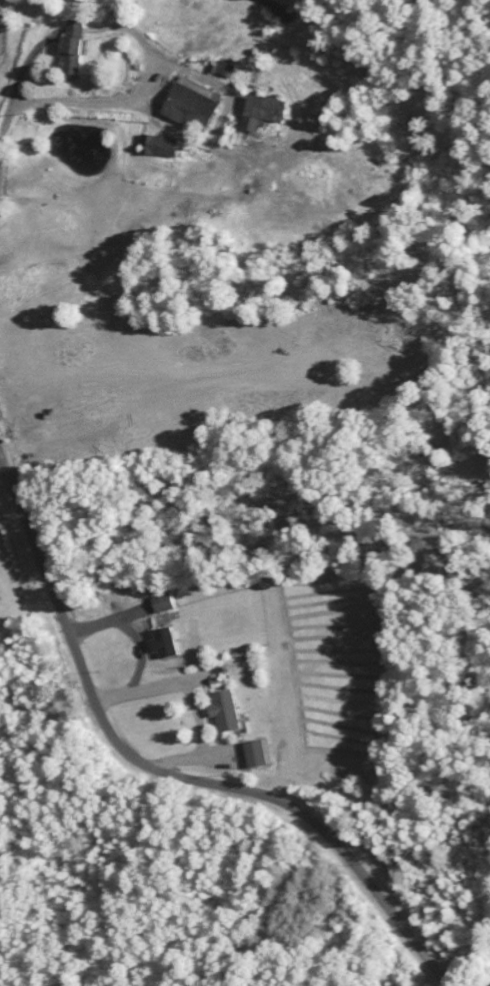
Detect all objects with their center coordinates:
building: (70, 52)
building: (219, 70)
building: (186, 105)
building: (258, 114)
building: (154, 147)
building: (162, 604)
building: (162, 643)
building: (223, 711)
building: (253, 755)
road: (165, 771)

